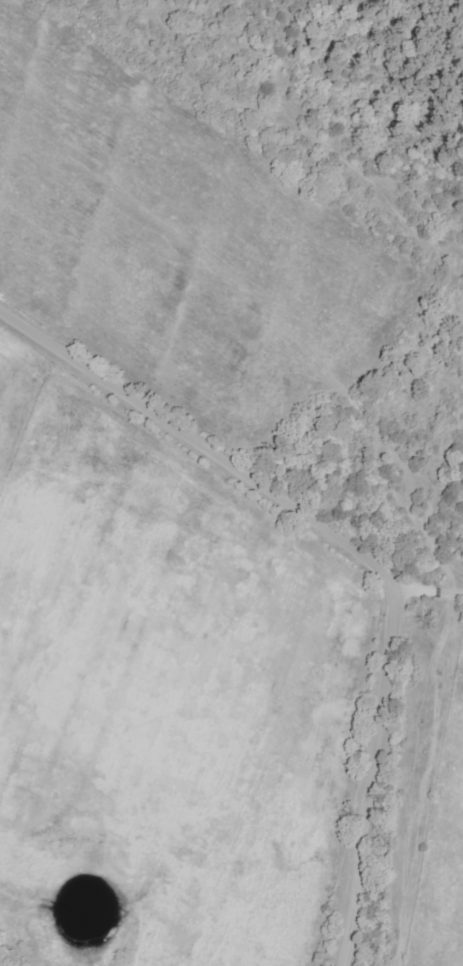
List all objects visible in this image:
road: (364, 546)
road: (428, 585)
road: (460, 893)

